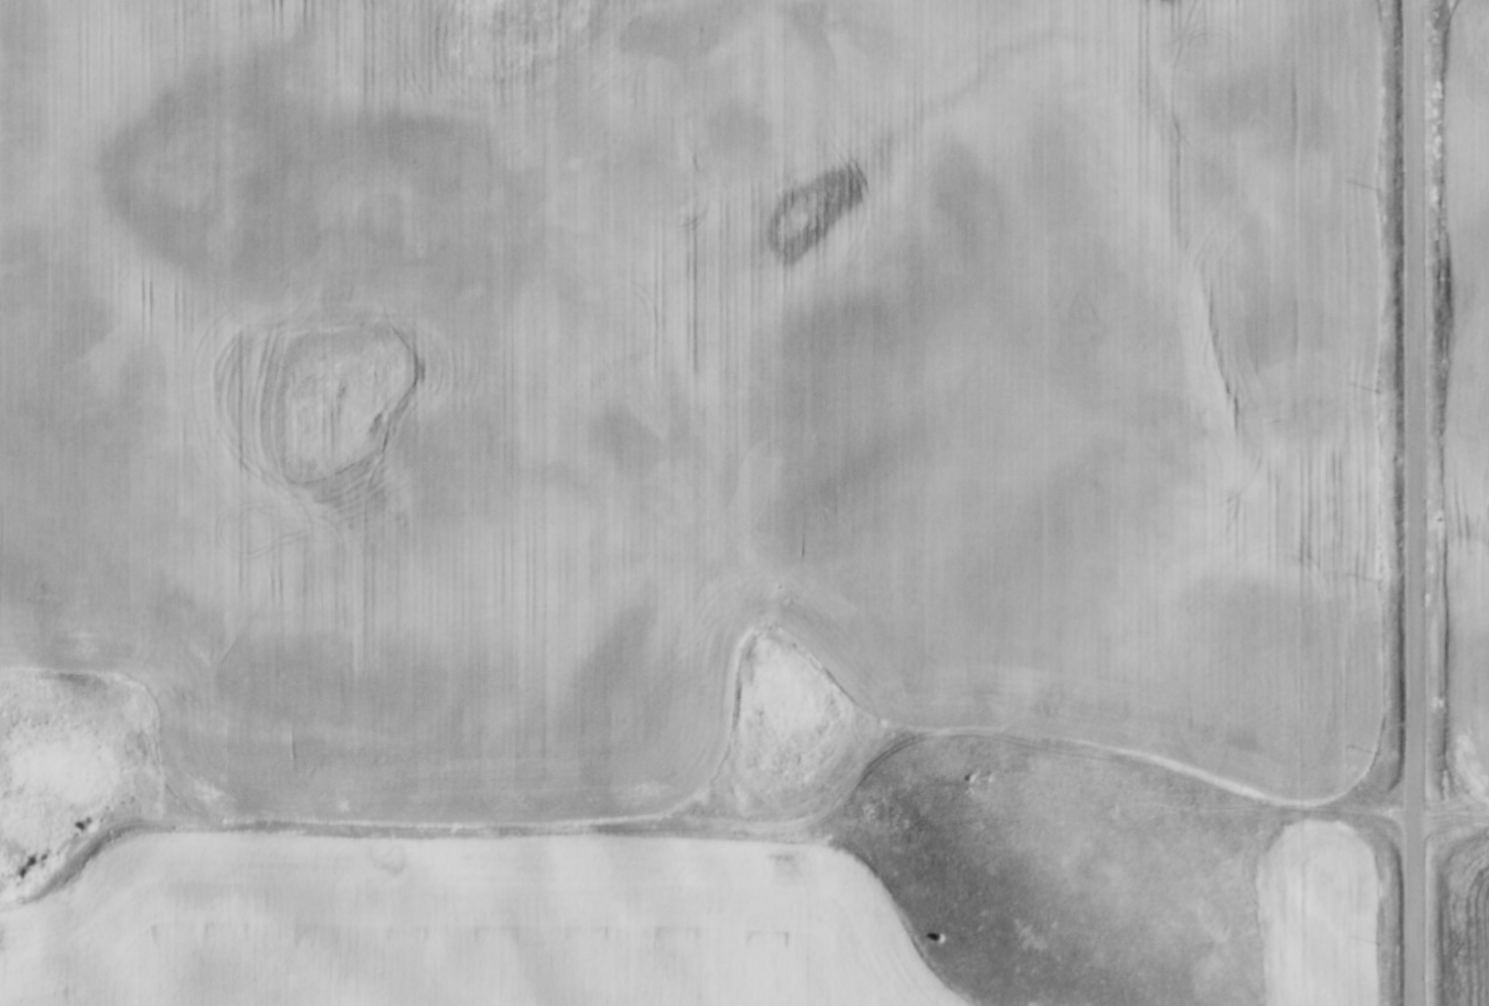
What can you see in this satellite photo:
road: (1414, 502)
road: (734, 819)

